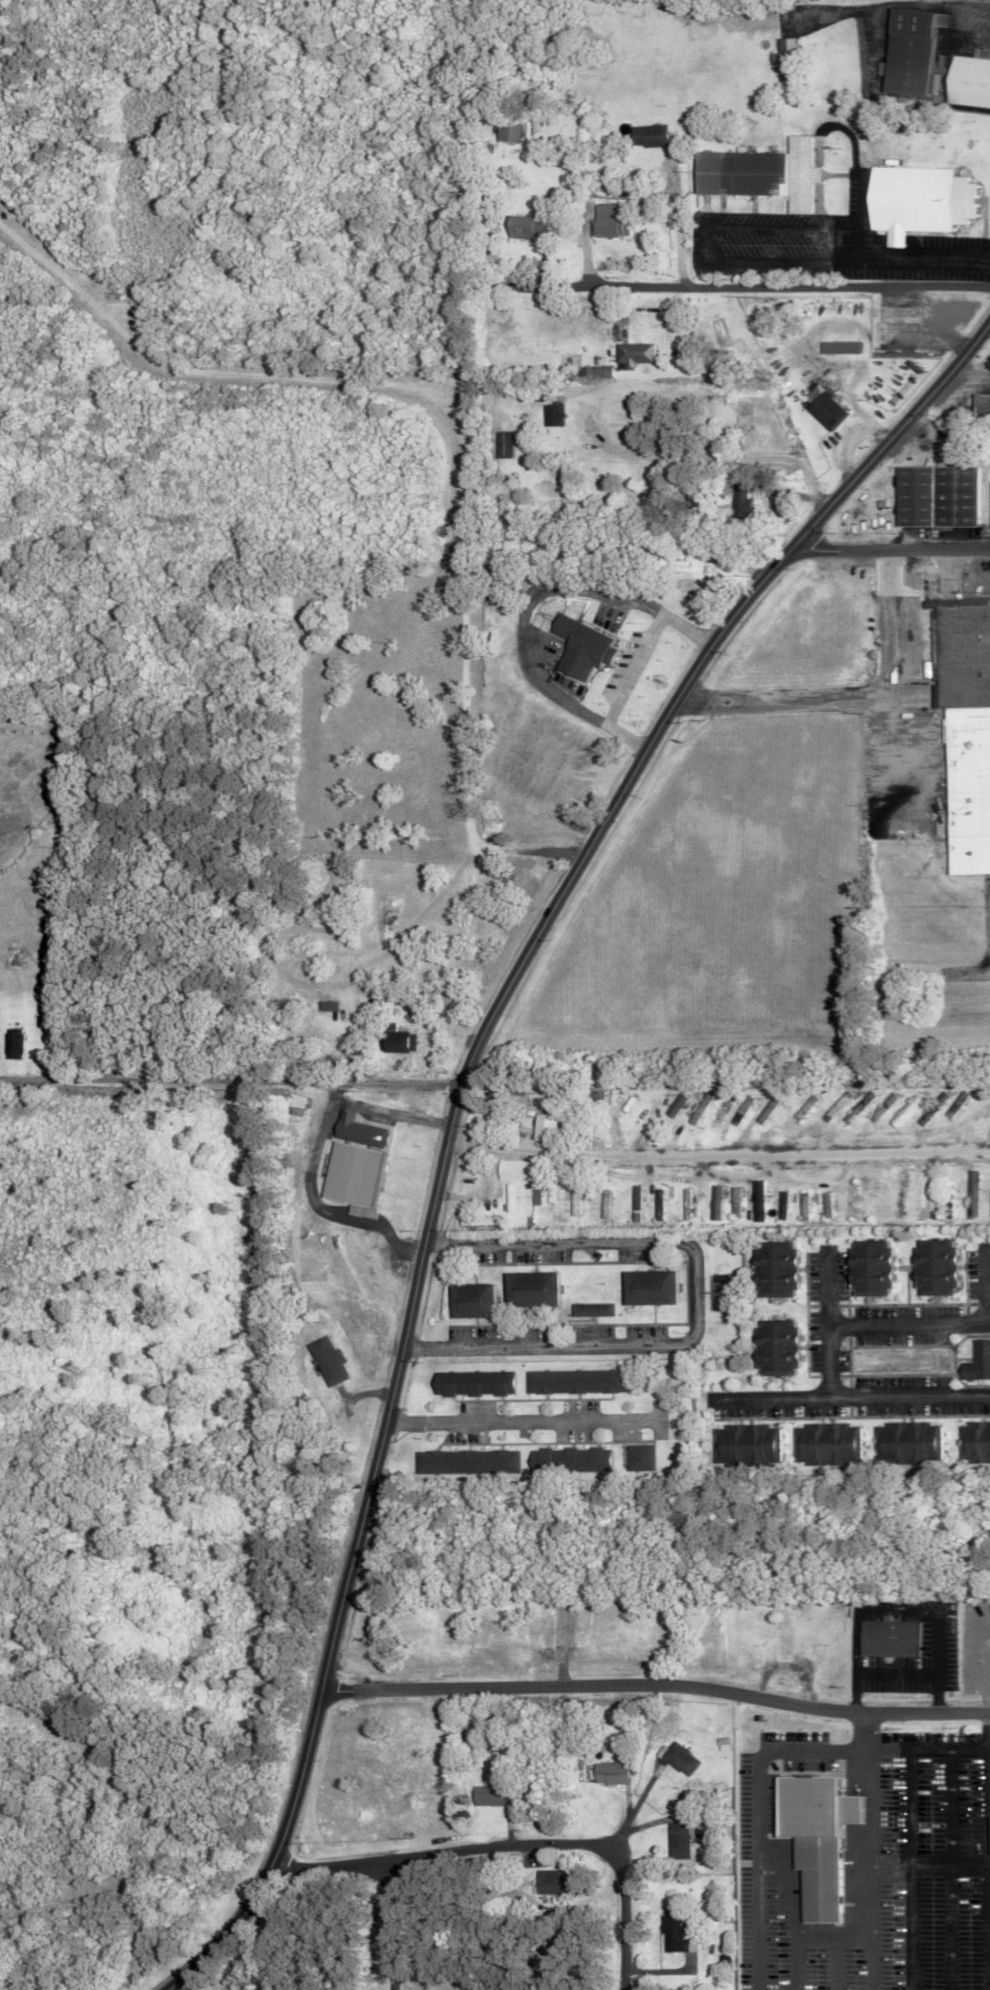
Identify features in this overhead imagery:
building: (783, 49)
building: (905, 50)
building: (967, 79)
building: (508, 131)
building: (646, 135)
building: (756, 173)
building: (913, 200)
road: (671, 214)
building: (607, 221)
building: (525, 226)
road: (756, 279)
building: (876, 331)
building: (838, 347)
building: (632, 353)
road: (970, 374)
building: (979, 405)
building: (821, 406)
building: (553, 415)
road: (456, 422)
building: (502, 444)
road: (683, 458)
building: (989, 492)
building: (934, 495)
road: (890, 549)
road: (536, 593)
building: (581, 647)
building: (965, 652)
road: (623, 686)
road: (853, 691)
building: (971, 785)
building: (329, 1005)
building: (398, 1040)
building: (16, 1045)
road: (232, 1086)
road: (460, 1101)
building: (677, 1106)
building: (904, 1112)
building: (546, 1128)
road: (719, 1145)
building: (355, 1161)
building: (973, 1194)
building: (605, 1197)
building: (512, 1198)
building: (735, 1201)
building: (759, 1201)
building: (715, 1202)
building: (923, 1203)
building: (687, 1205)
building: (933, 1268)
building: (867, 1269)
building: (772, 1270)
road: (986, 1281)
building: (646, 1288)
building: (529, 1290)
road: (824, 1290)
building: (469, 1301)
building: (592, 1310)
building: (773, 1349)
road: (540, 1352)
road: (825, 1352)
building: (326, 1360)
building: (976, 1362)
building: (574, 1382)
building: (471, 1383)
road: (771, 1392)
road: (526, 1425)
building: (907, 1443)
building: (974, 1443)
building: (745, 1445)
building: (827, 1445)
building: (637, 1457)
building: (567, 1460)
building: (466, 1463)
road: (868, 1612)
building: (886, 1637)
building: (784, 1640)
road: (935, 1665)
road: (895, 1674)
road: (658, 1683)
road: (854, 1692)
road: (987, 1748)
building: (679, 1758)
building: (608, 1773)
building: (487, 1795)
road: (759, 1808)
building: (987, 1835)
building: (813, 1837)
building: (677, 1840)
road: (866, 1847)
road: (984, 1849)
road: (516, 1854)
building: (546, 1883)
road: (397, 1925)
building: (673, 1930)
road: (870, 1957)
road: (796, 1963)

